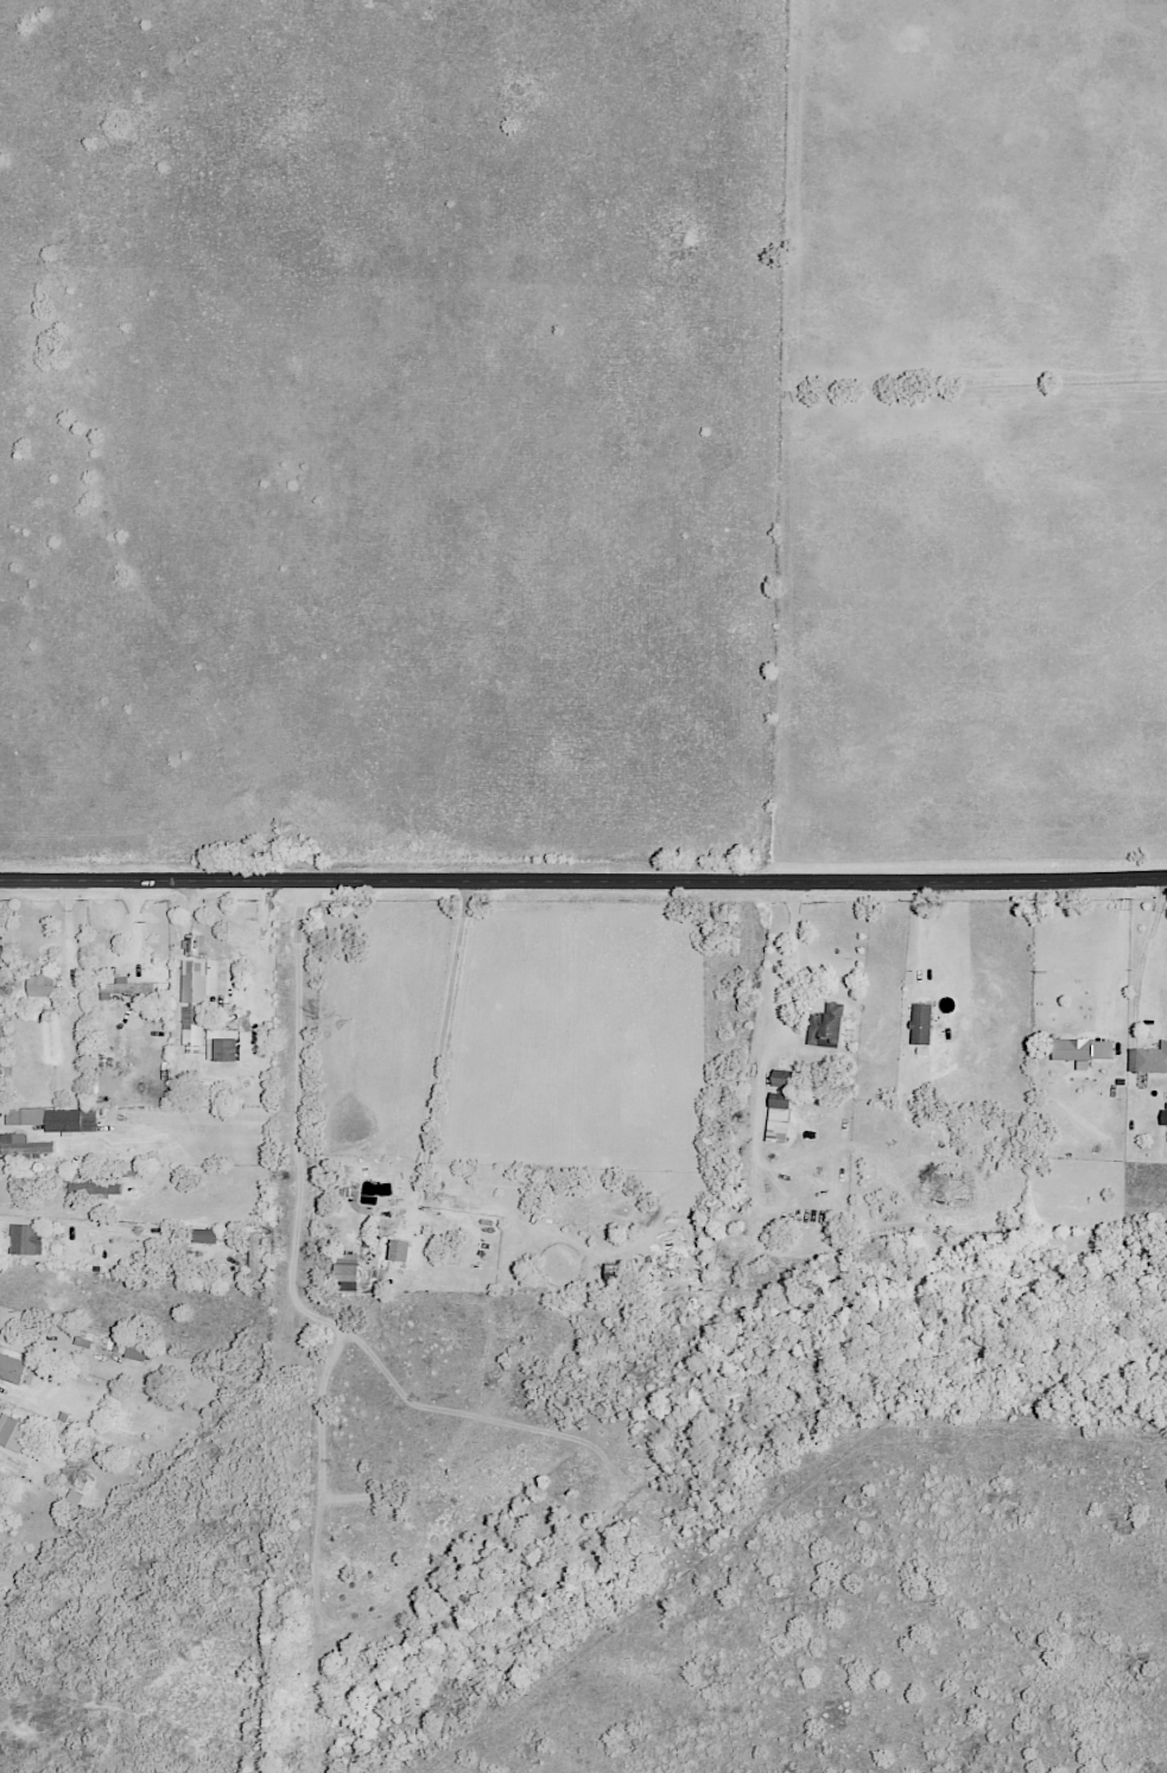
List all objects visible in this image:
road: (583, 883)
road: (205, 930)
road: (925, 938)
road: (1142, 954)
building: (191, 980)
building: (40, 985)
building: (919, 1023)
building: (825, 1025)
building: (223, 1048)
building: (1079, 1049)
building: (1152, 1059)
road: (437, 1060)
building: (45, 1118)
building: (776, 1118)
building: (23, 1145)
building: (93, 1188)
building: (202, 1235)
building: (24, 1238)
building: (397, 1248)
building: (253, 1253)
building: (345, 1266)
building: (347, 1285)
building: (128, 1348)
building: (11, 1367)
building: (12, 1432)
road: (0, 1455)
building: (81, 1482)
building: (72, 1496)

